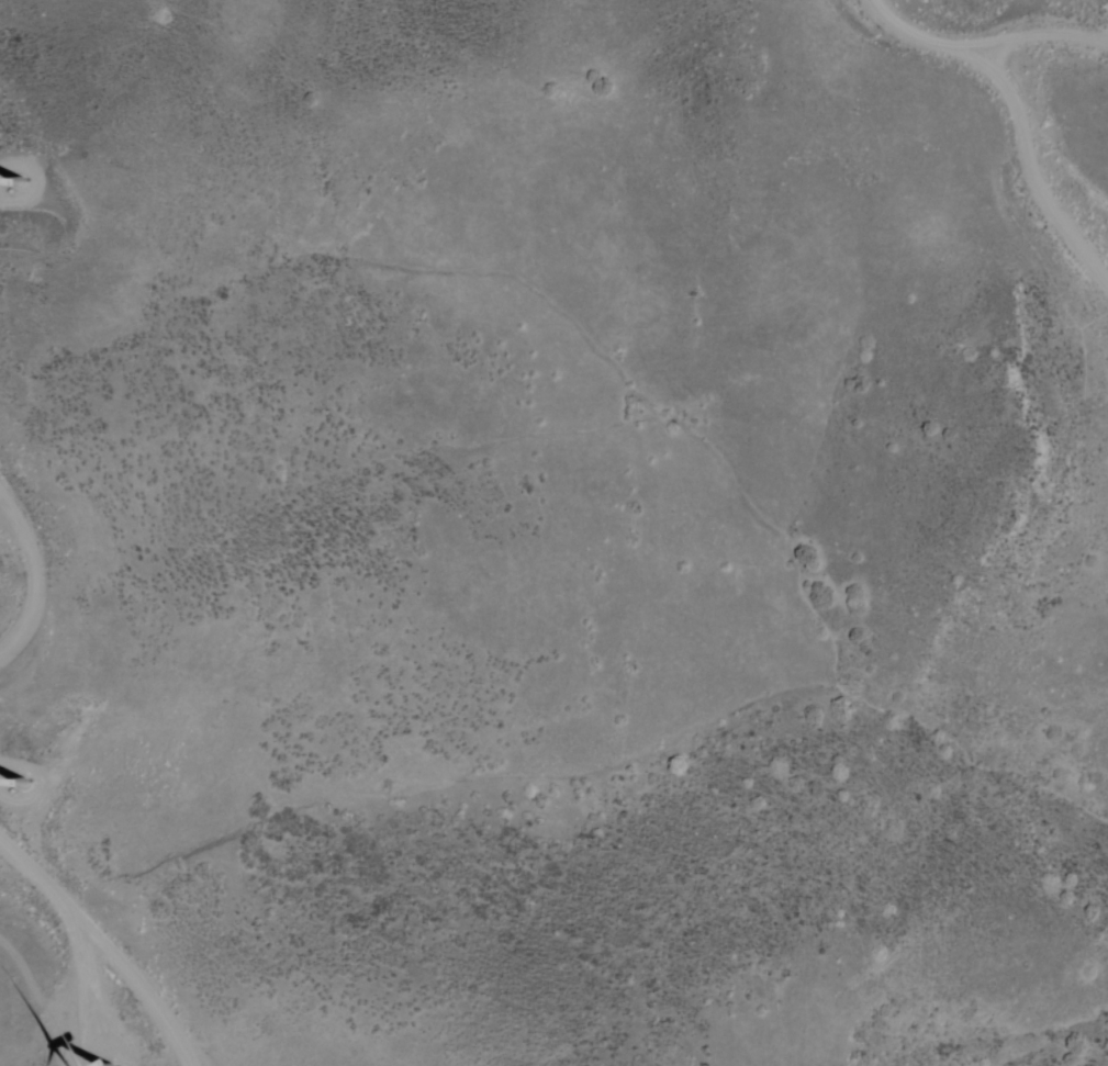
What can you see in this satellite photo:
road: (920, 31)
wind turbine: (15, 156)
road: (1040, 157)

